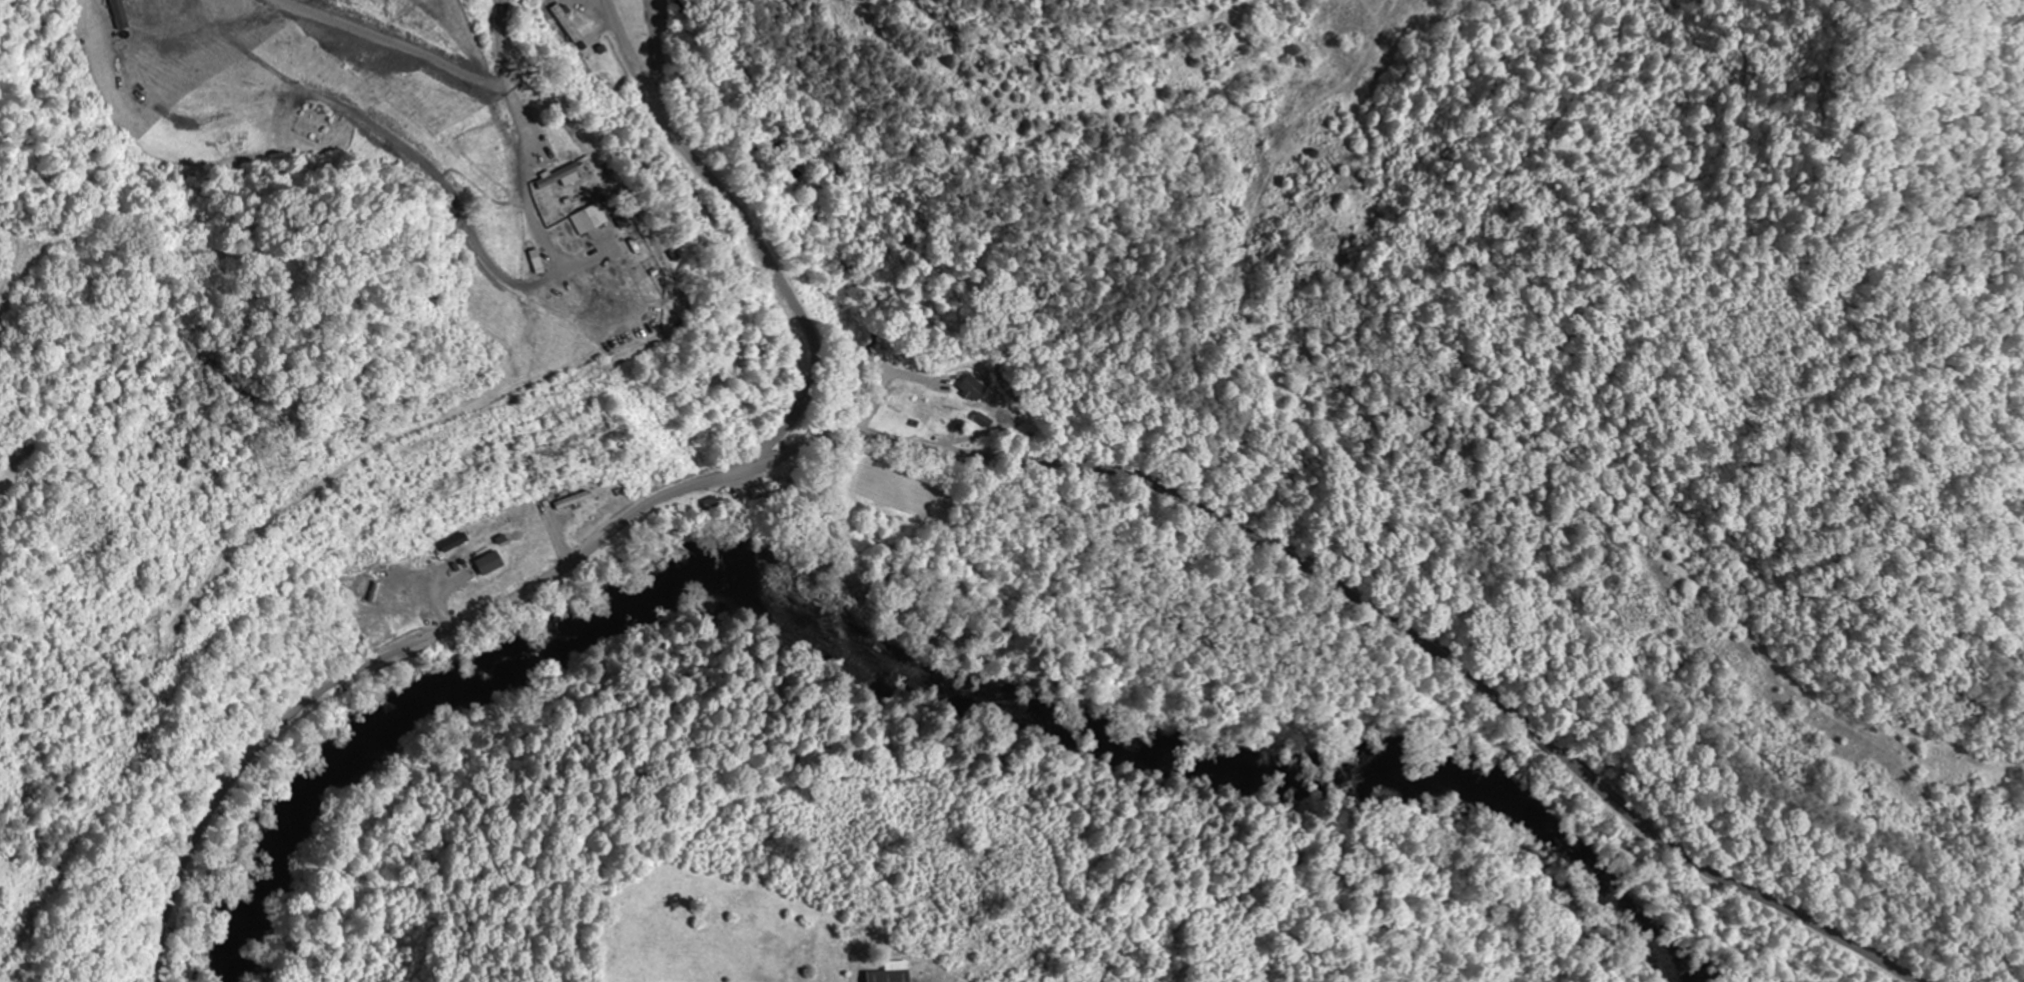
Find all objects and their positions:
building: (121, 14)
building: (560, 174)
building: (591, 218)
building: (542, 261)
building: (972, 388)
building: (984, 419)
road: (988, 458)
building: (457, 542)
building: (491, 562)
river: (897, 667)
building: (890, 976)

